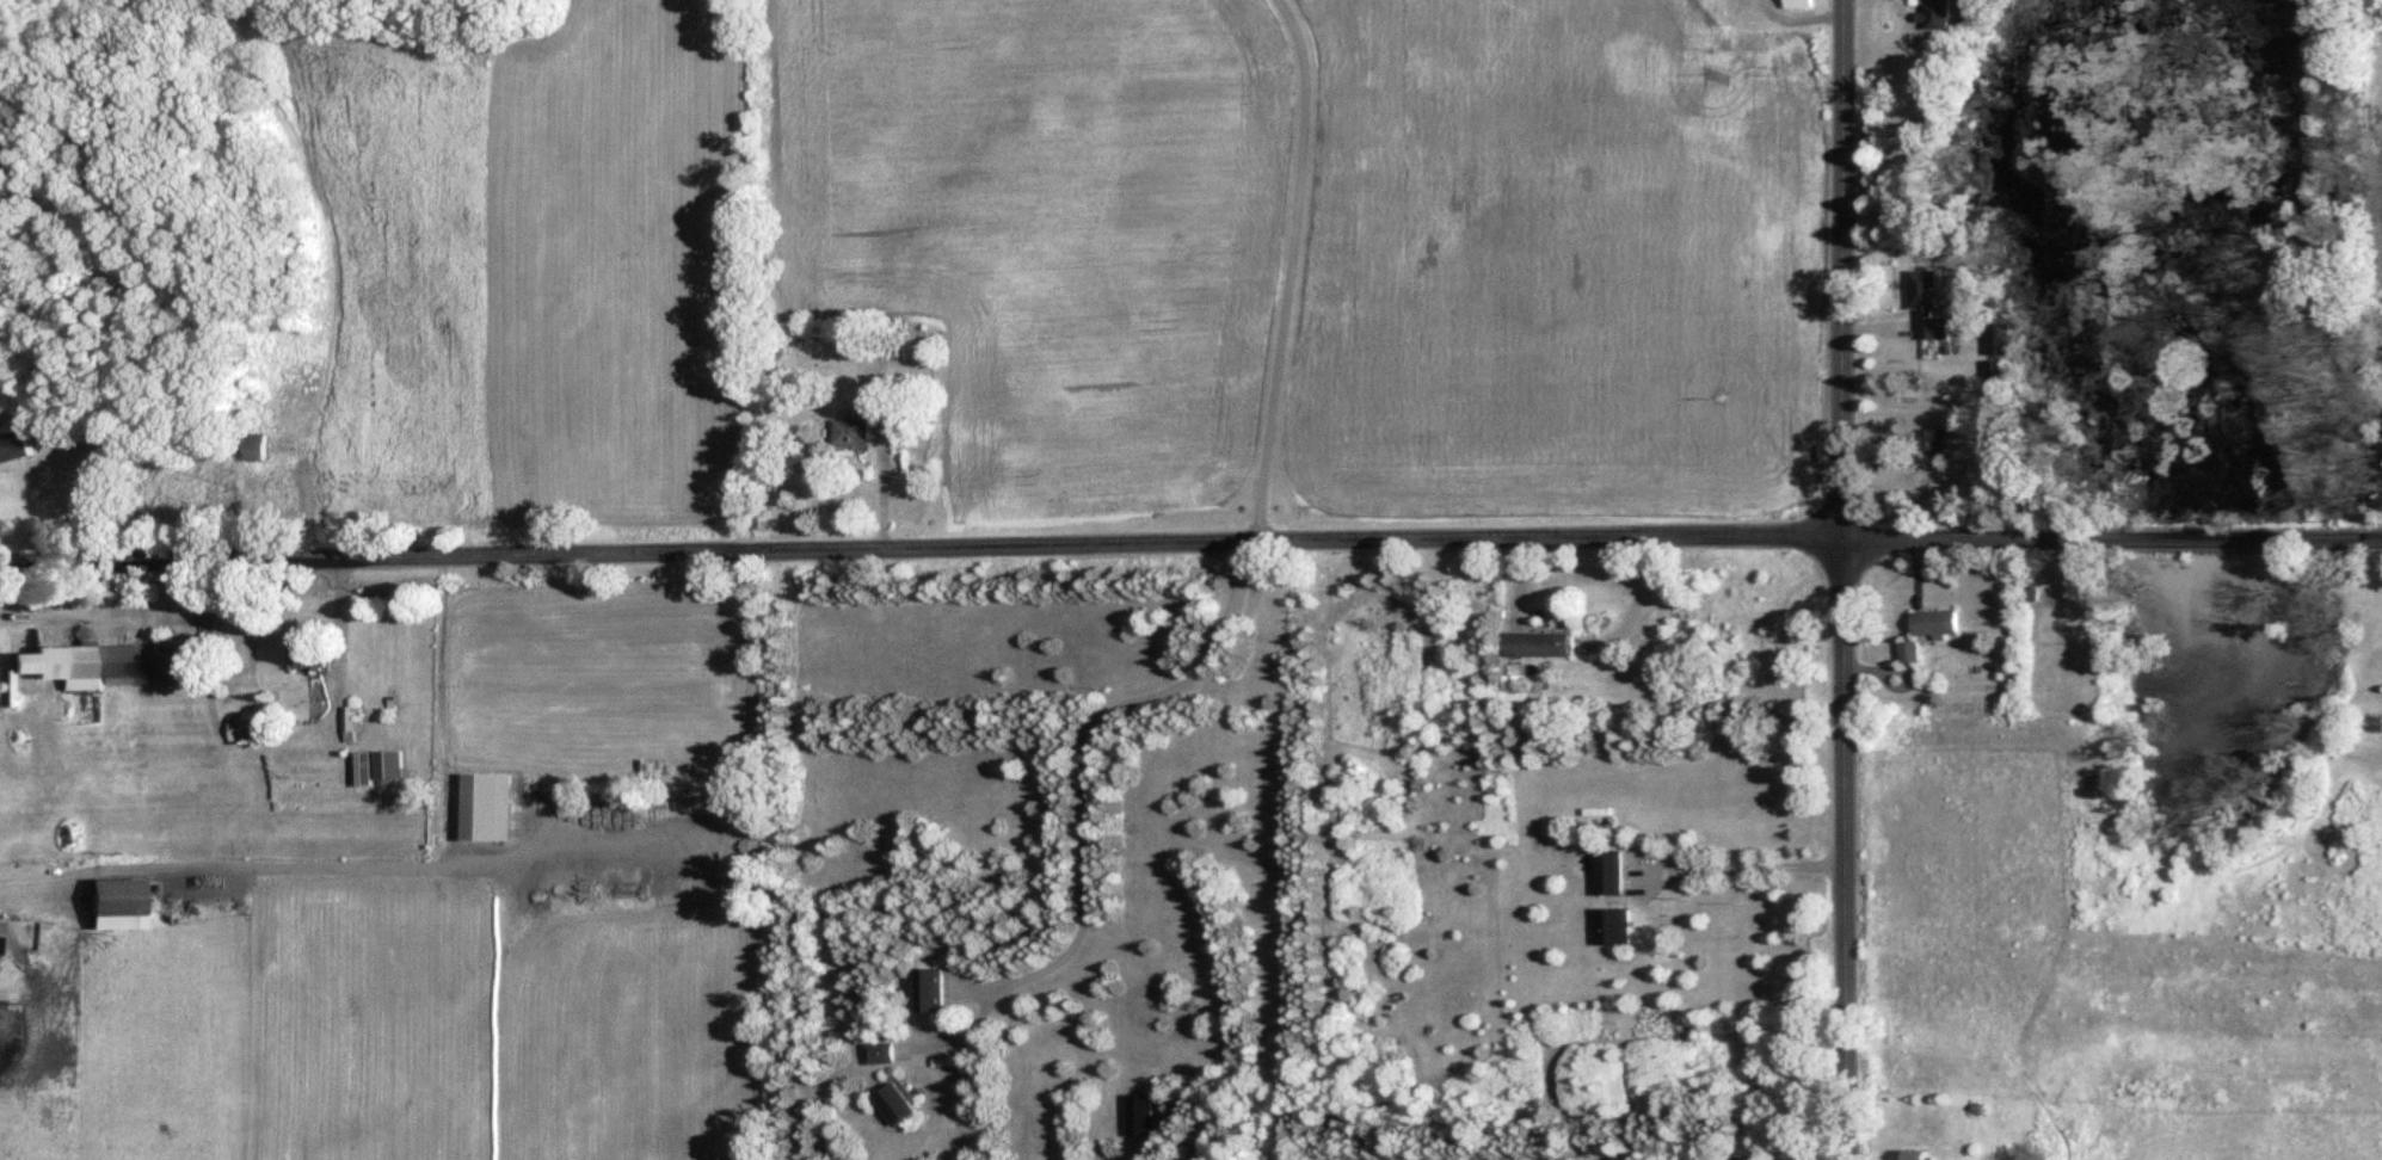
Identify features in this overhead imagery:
building: (1797, 7)
building: (1940, 18)
road: (1286, 267)
building: (1929, 308)
building: (296, 363)
building: (861, 430)
building: (1933, 445)
building: (12, 452)
building: (250, 452)
building: (265, 486)
road: (1190, 544)
road: (1842, 580)
road: (333, 629)
building: (1935, 629)
building: (1538, 650)
building: (1909, 658)
building: (300, 665)
building: (110, 668)
building: (248, 733)
road: (1083, 752)
building: (387, 771)
building: (363, 775)
road: (704, 816)
road: (216, 865)
road: (1740, 868)
building: (1607, 878)
building: (118, 911)
building: (1611, 932)
building: (934, 997)
building: (879, 1059)
building: (895, 1110)
building: (1139, 1121)
building: (1918, 1158)

